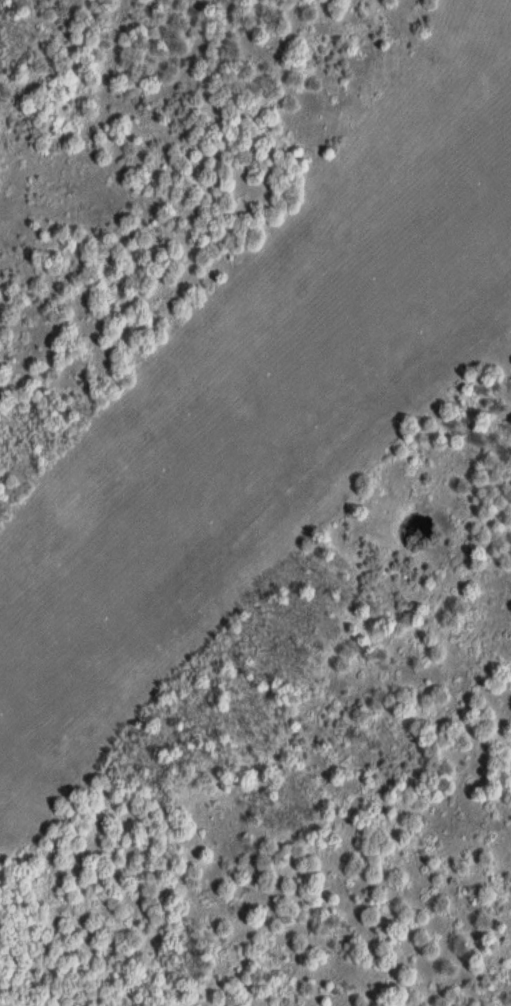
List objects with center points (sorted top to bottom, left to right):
airport: (262, 414)

